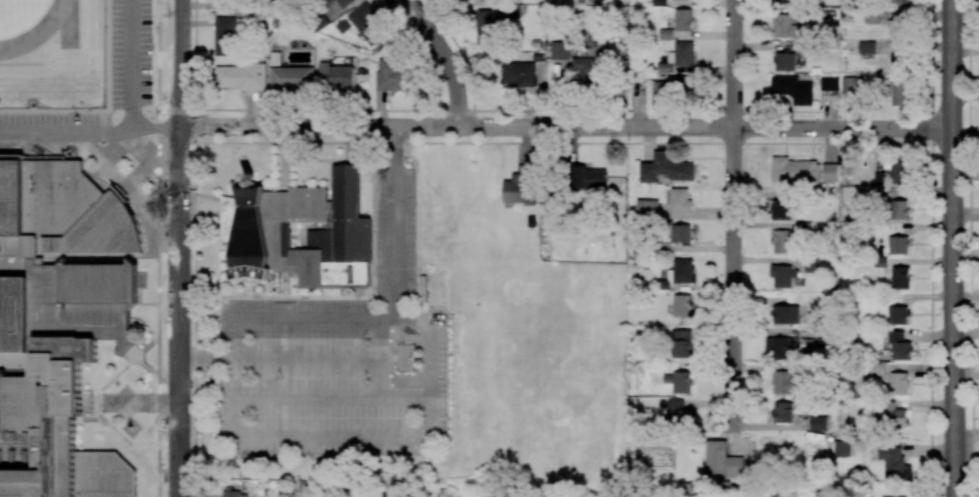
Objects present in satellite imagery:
building: (329, 1)
building: (784, 1)
building: (901, 1)
building: (342, 2)
building: (227, 5)
building: (683, 19)
building: (365, 25)
building: (488, 25)
building: (786, 26)
track: (46, 30)
building: (666, 34)
building: (225, 36)
building: (866, 47)
building: (559, 50)
building: (684, 53)
road: (449, 57)
building: (784, 61)
road: (132, 64)
road: (733, 64)
building: (664, 67)
building: (587, 68)
building: (518, 73)
building: (391, 75)
building: (336, 76)
building: (241, 77)
building: (291, 78)
building: (829, 83)
building: (850, 86)
building: (673, 88)
building: (792, 89)
building: (899, 93)
road: (567, 125)
road: (91, 133)
building: (665, 168)
building: (795, 171)
building: (830, 172)
building: (899, 172)
building: (586, 178)
flagpole: (326, 181)
building: (519, 189)
building: (680, 200)
building: (647, 206)
building: (782, 208)
building: (900, 209)
road: (396, 222)
building: (254, 226)
building: (680, 233)
building: (782, 241)
building: (898, 245)
road: (180, 248)
road: (931, 248)
road: (952, 248)
road: (970, 248)
building: (677, 274)
building: (783, 276)
road: (733, 277)
building: (900, 277)
building: (682, 305)
building: (785, 314)
building: (898, 315)
building: (59, 324)
building: (681, 343)
building: (899, 346)
building: (780, 347)
road: (211, 358)
road: (311, 358)
road: (380, 362)
building: (679, 382)
building: (786, 382)
building: (898, 383)
road: (335, 402)
road: (429, 406)
building: (782, 412)
building: (679, 413)
building: (891, 414)
flagpole: (103, 423)
building: (818, 423)
building: (843, 448)
building: (723, 460)
building: (894, 464)
road: (698, 492)
building: (231, 494)
building: (893, 496)

